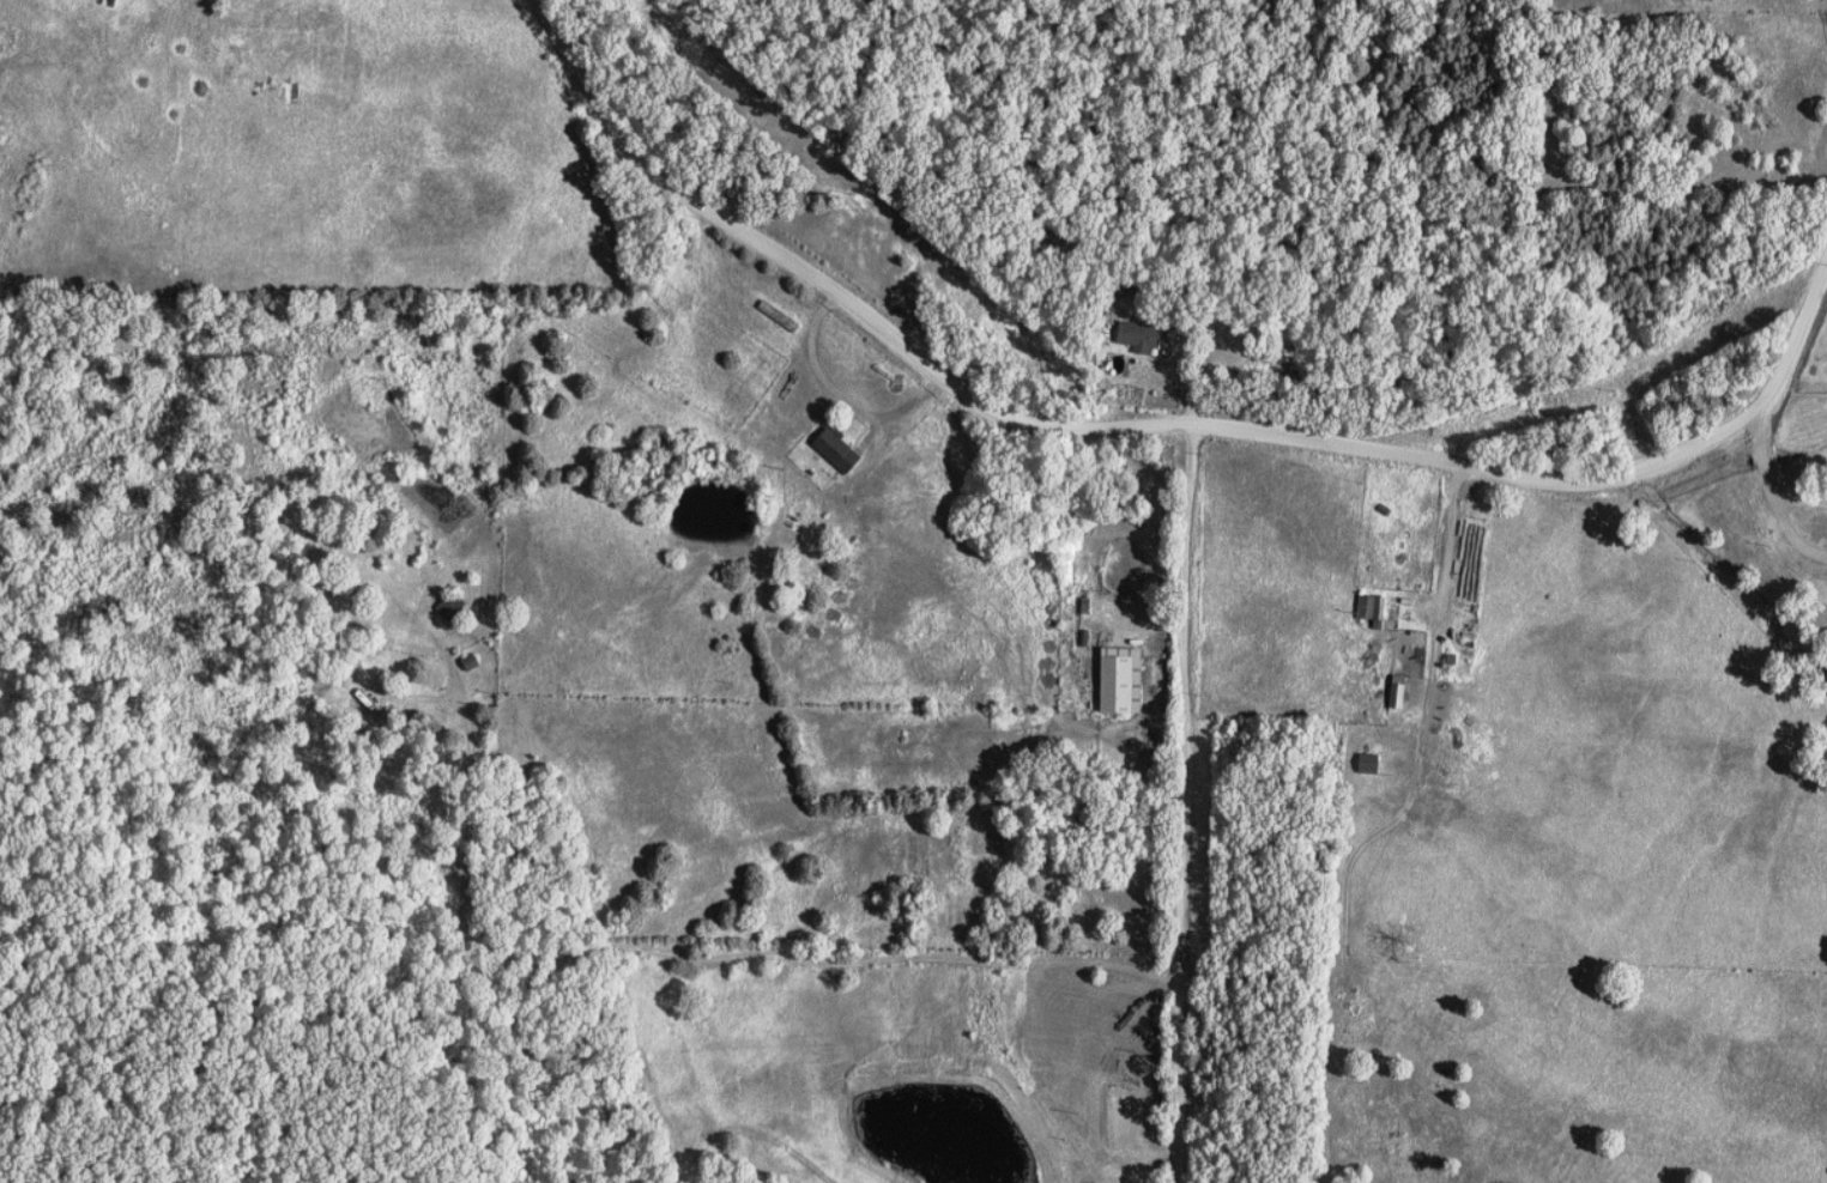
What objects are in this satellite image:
building: (1138, 335)
road: (847, 399)
road: (1149, 426)
building: (835, 449)
road: (1778, 473)
building: (1371, 607)
building: (1118, 679)
building: (1396, 691)
building: (1368, 763)
road: (1194, 818)
road: (1610, 868)
road: (1347, 904)
road: (621, 952)
road: (784, 1145)

